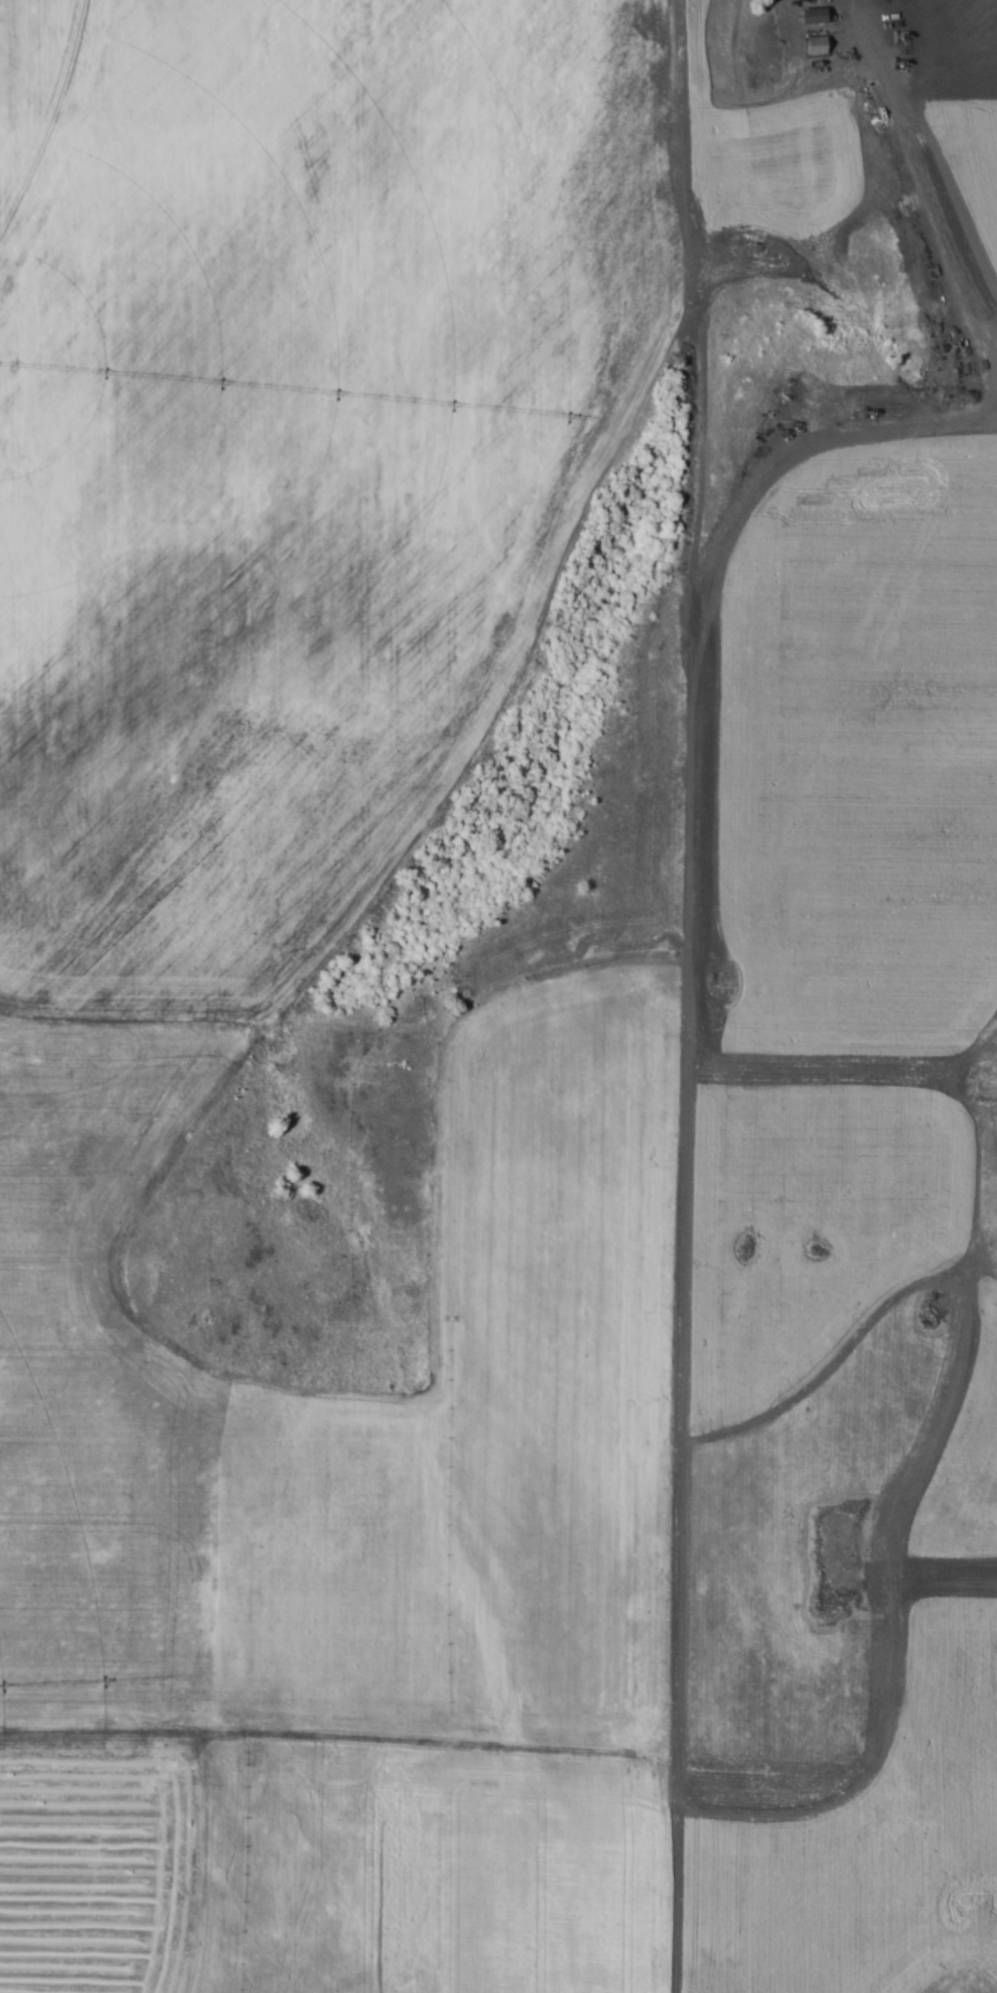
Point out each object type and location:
building: (812, 12)
building: (814, 43)

